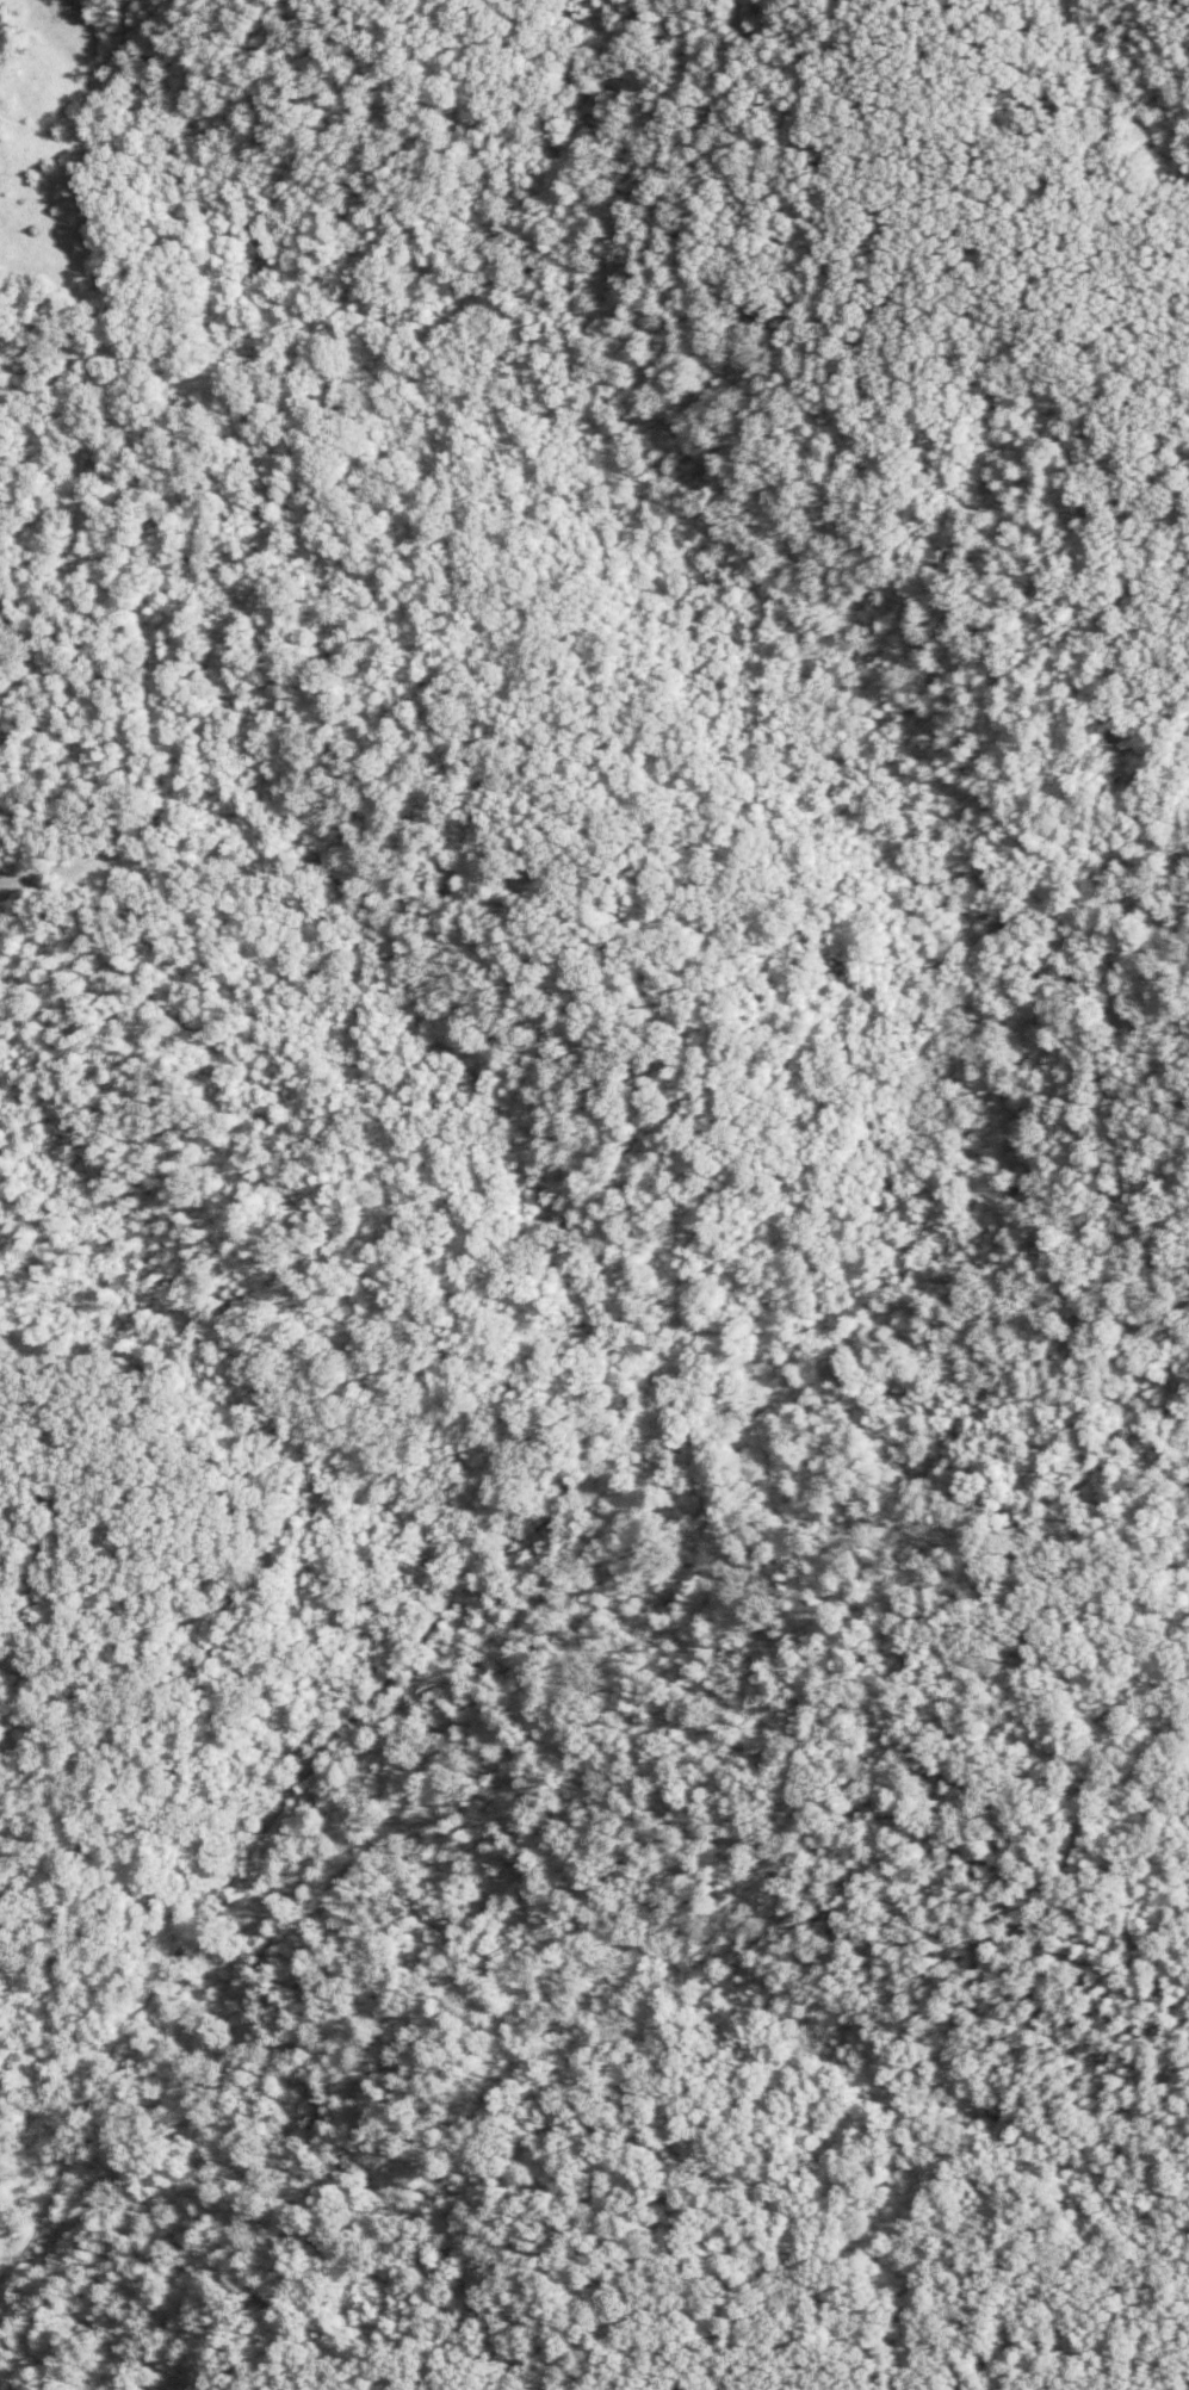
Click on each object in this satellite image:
road: (268, 1569)
road: (37, 1605)
road: (447, 1614)
road: (24, 1713)
road: (893, 1814)
road: (1079, 1840)
road: (485, 2110)
road: (39, 2116)
road: (675, 2203)
road: (385, 2342)
road: (997, 2361)

